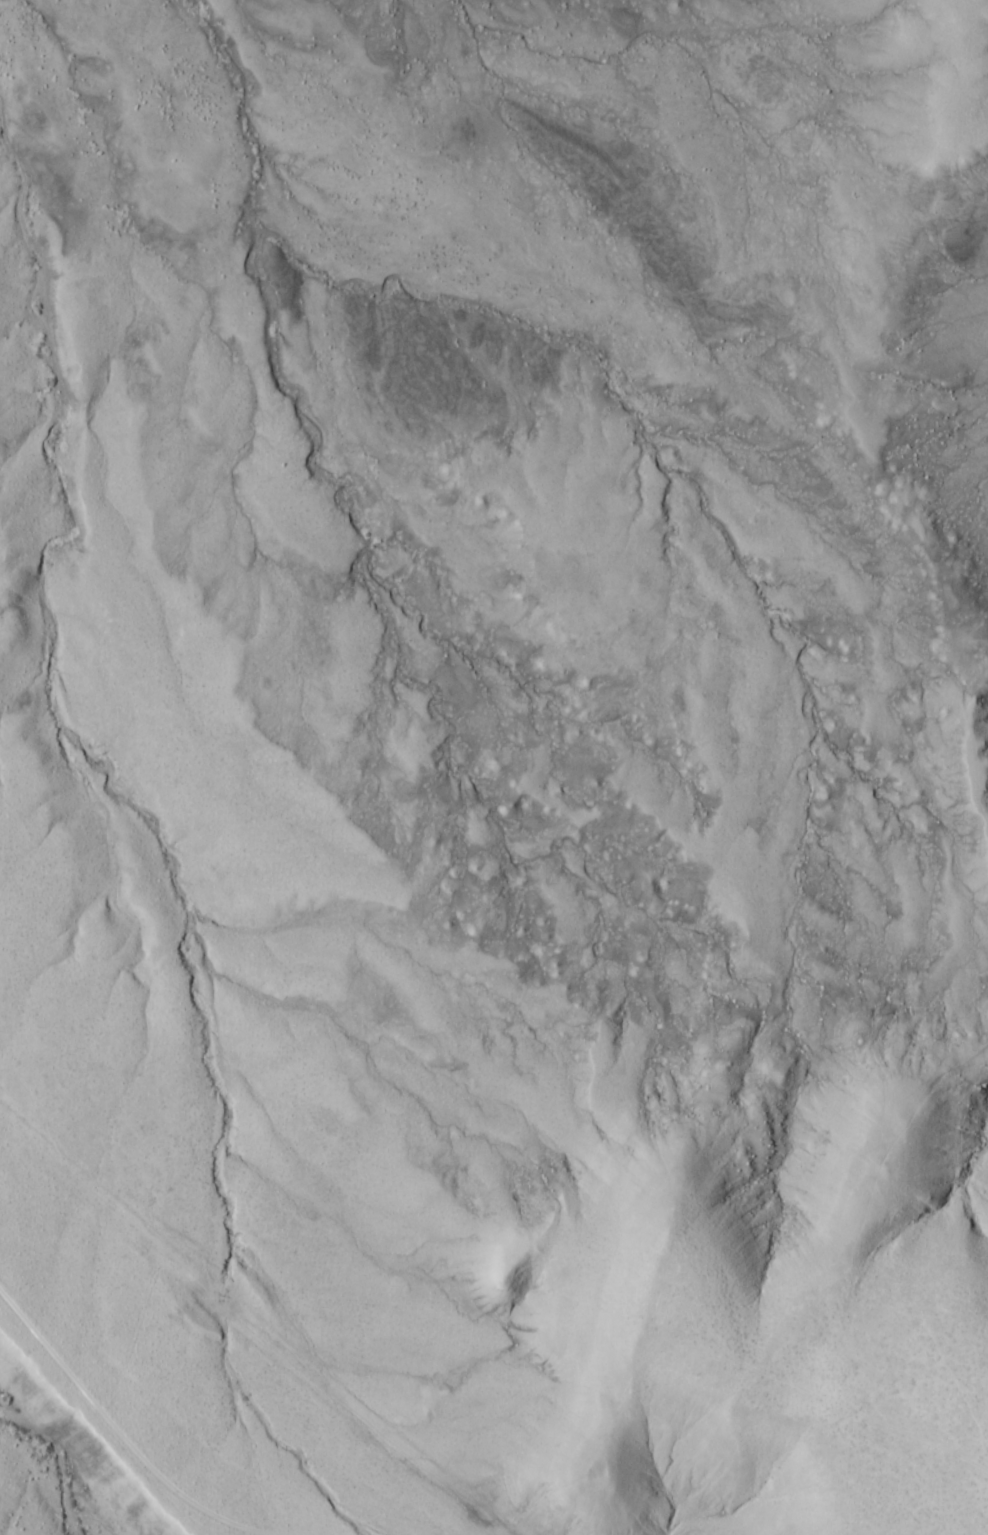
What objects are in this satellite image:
road: (122, 1435)

